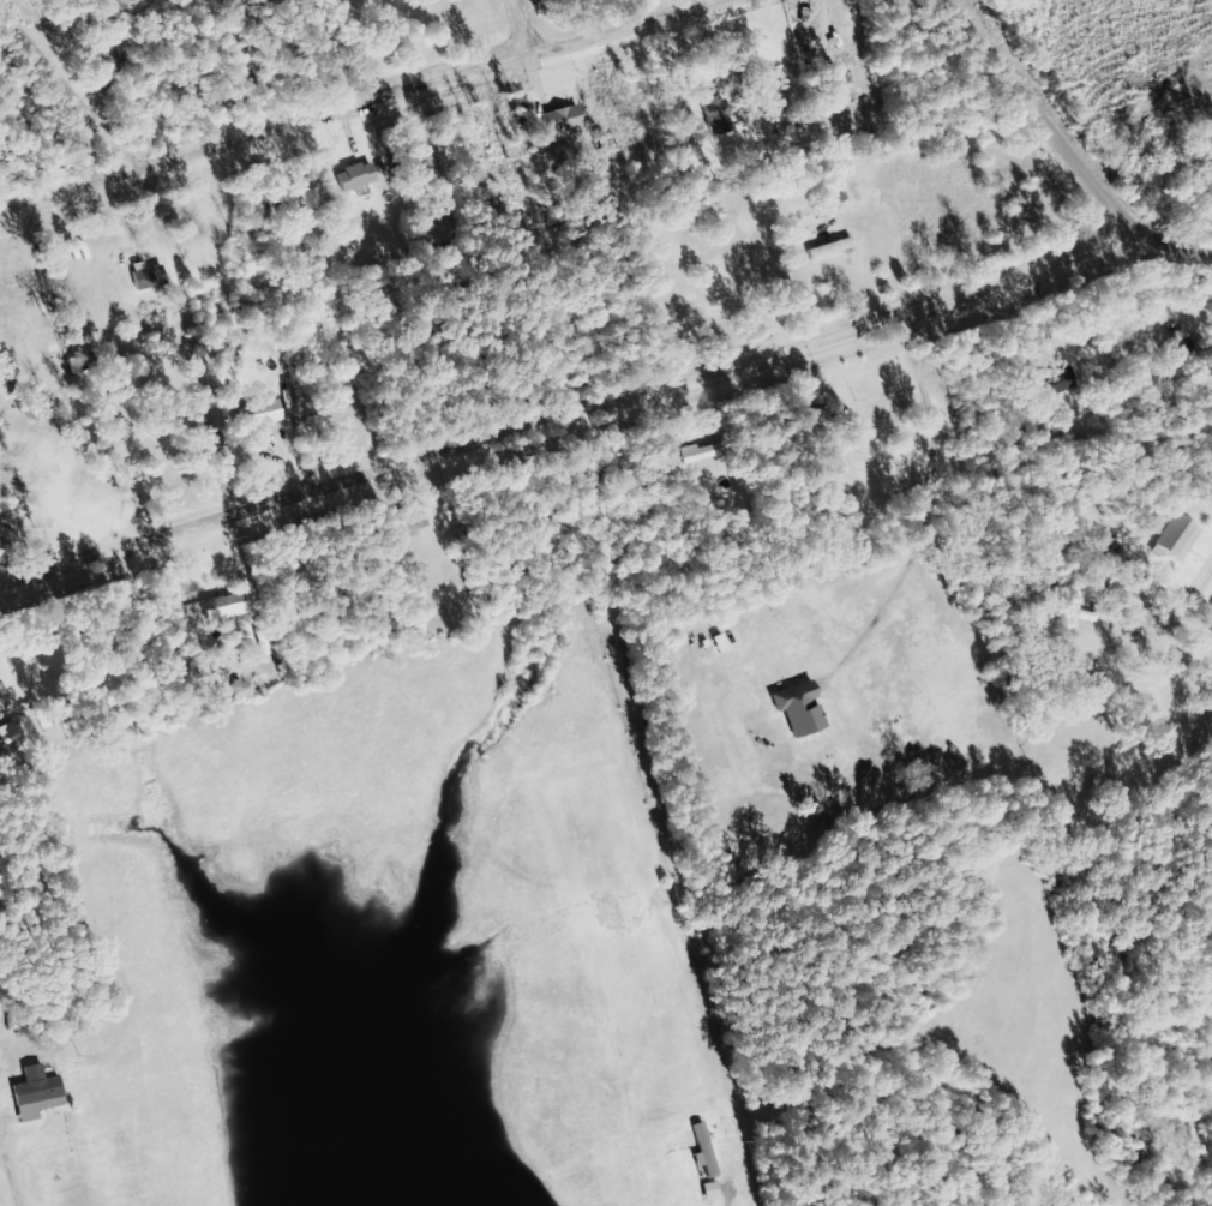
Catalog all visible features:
building: (113, 43)
road: (125, 115)
road: (1056, 121)
building: (565, 122)
road: (500, 142)
building: (359, 178)
road: (76, 262)
road: (1175, 265)
building: (150, 278)
building: (1062, 382)
building: (263, 415)
road: (568, 434)
building: (0, 500)
building: (409, 524)
building: (1180, 538)
building: (227, 608)
building: (1, 708)
building: (803, 710)
building: (38, 1094)
building: (707, 1152)
building: (714, 1192)

